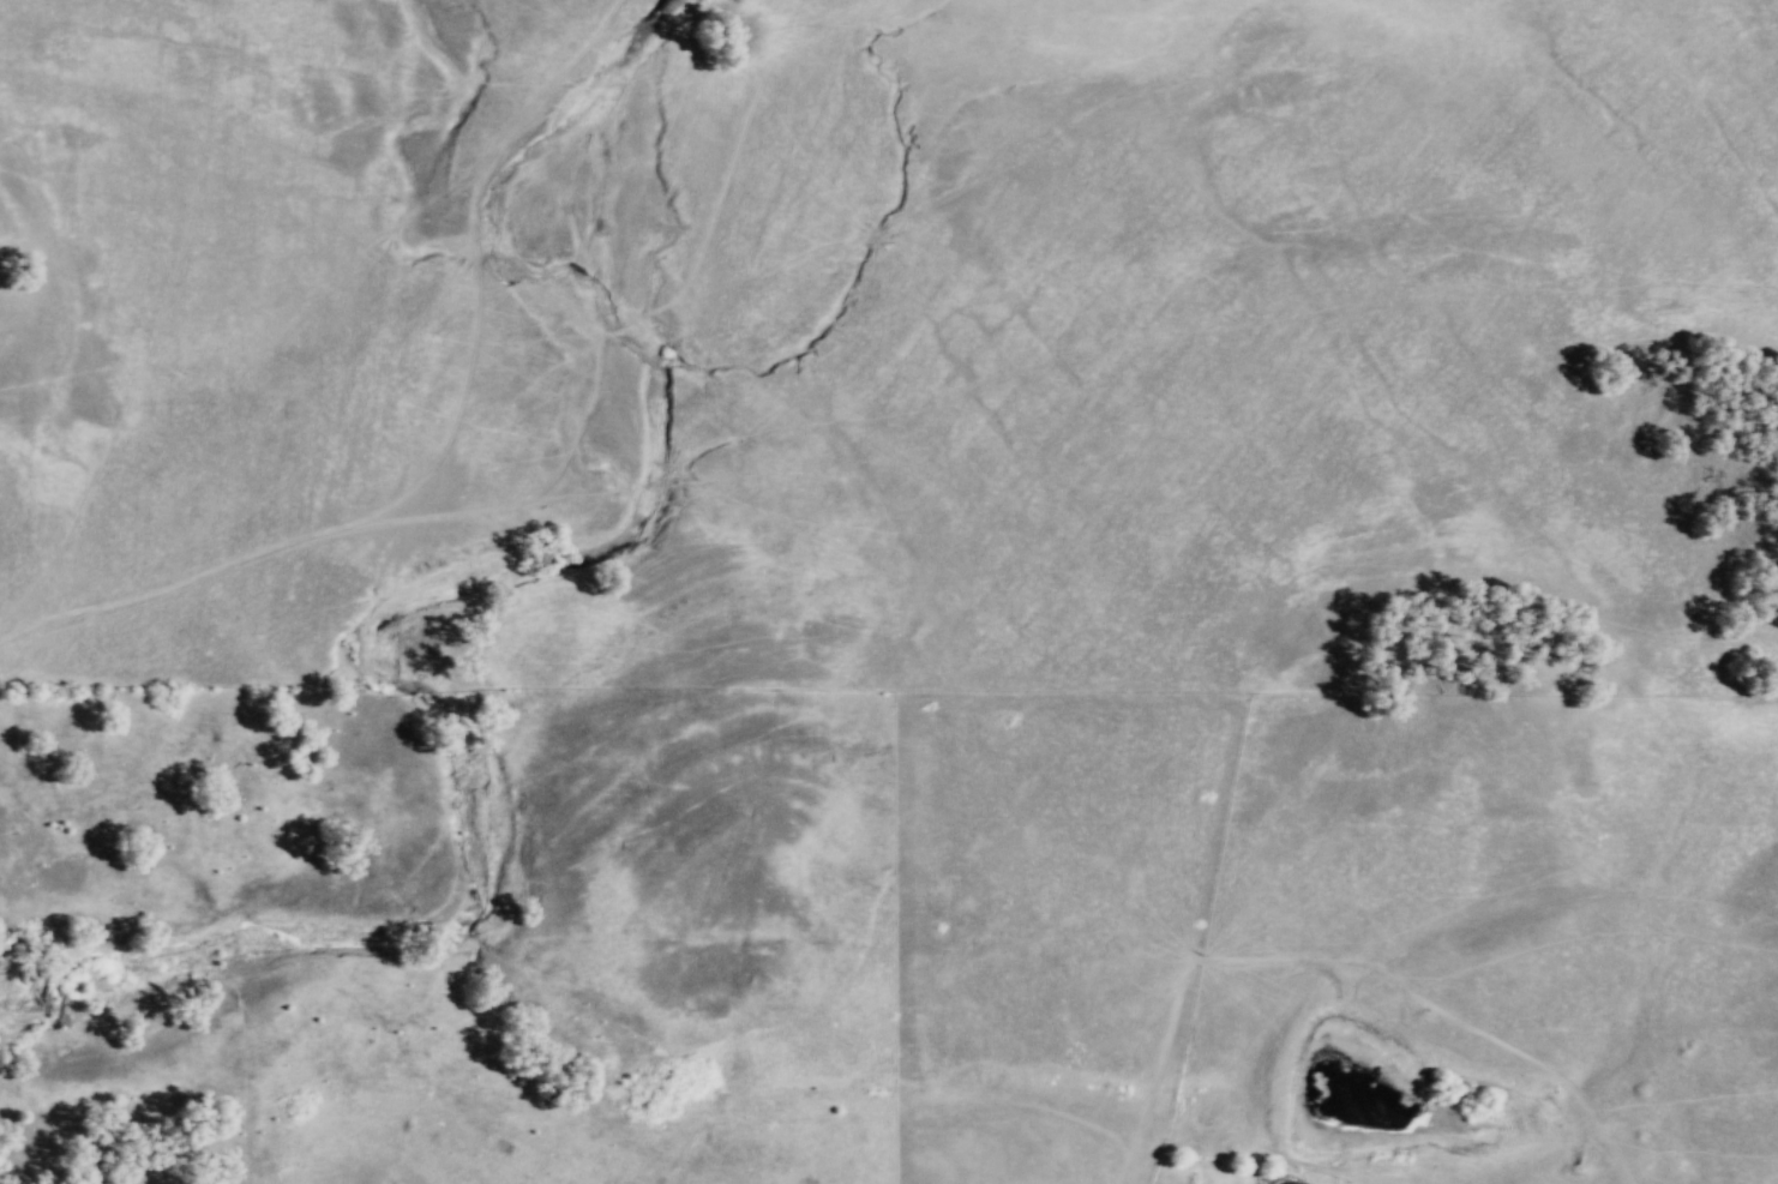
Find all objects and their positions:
road: (475, 266)
road: (555, 482)
building: (1293, 1183)

